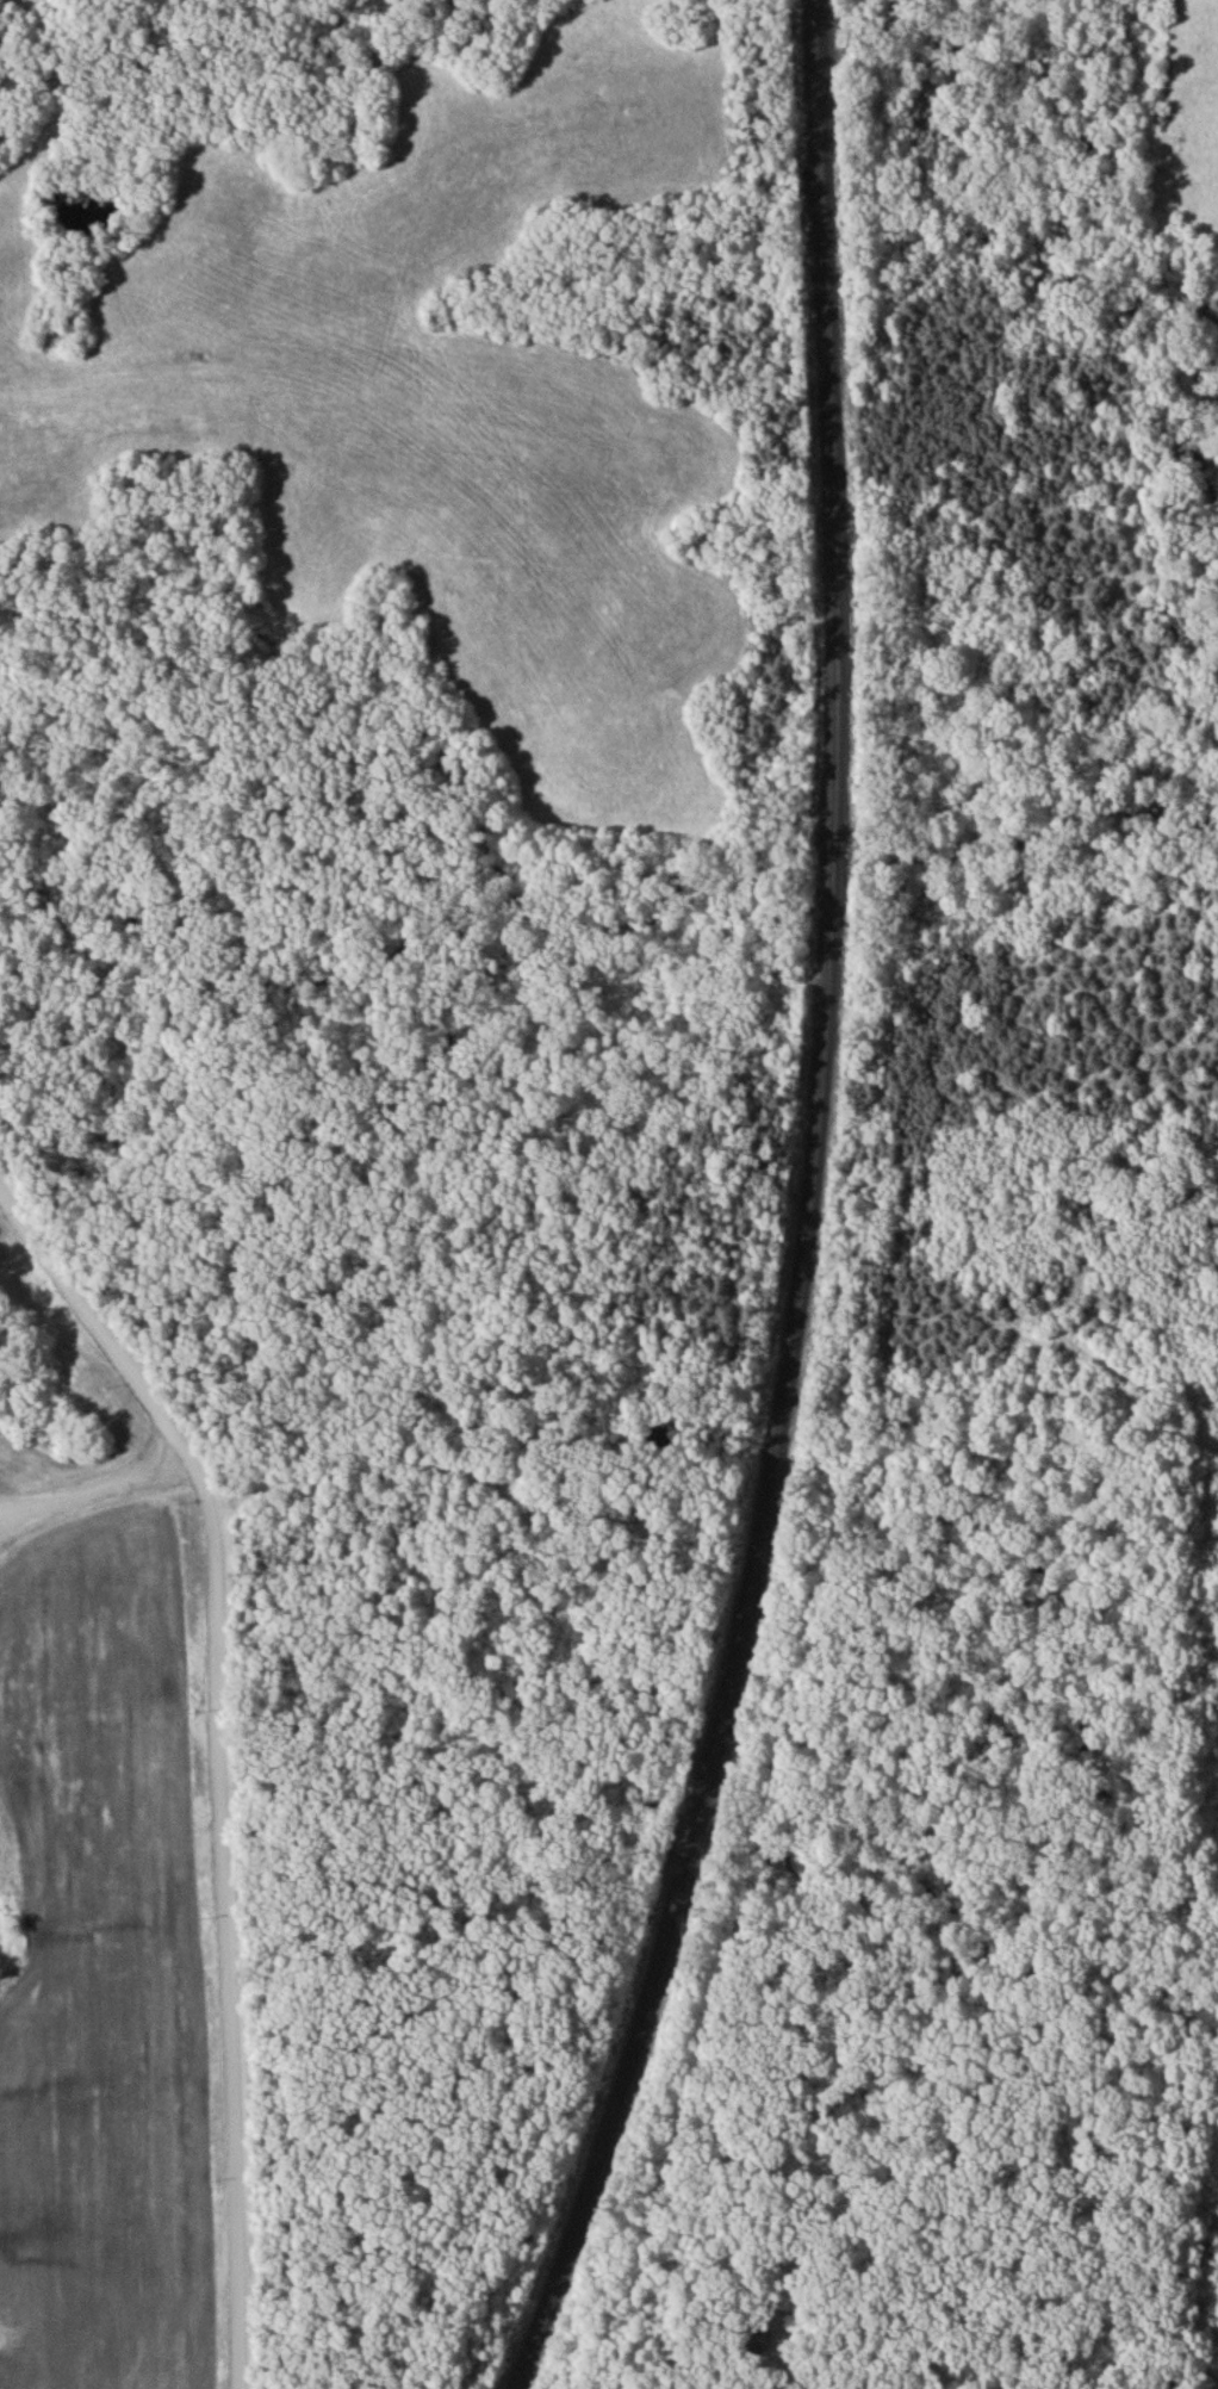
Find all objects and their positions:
railway: (803, 1212)
road: (215, 1760)

